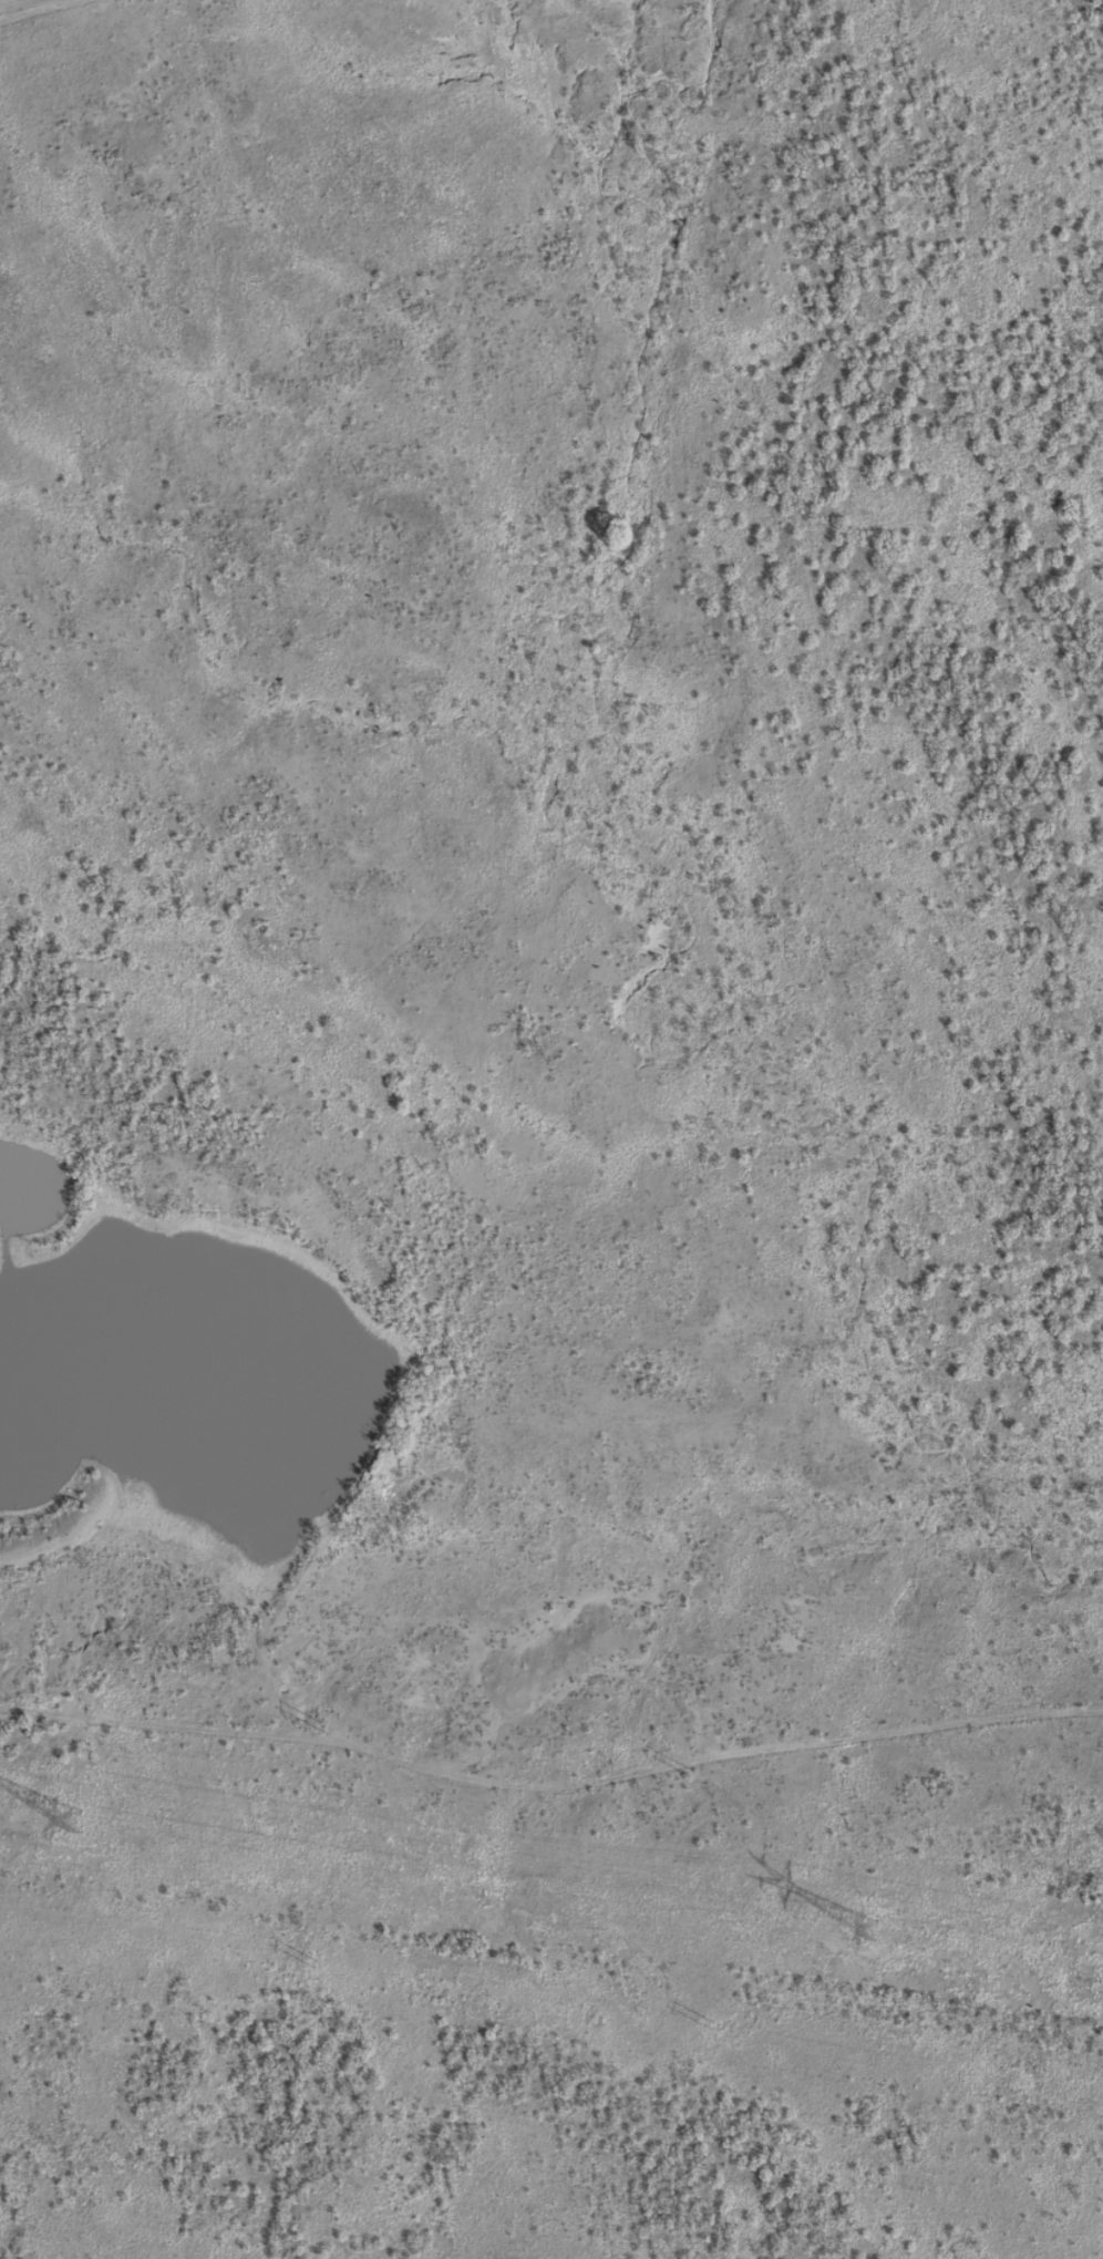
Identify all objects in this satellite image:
power tower: (320, 1727)
power tower: (690, 1773)
power tower: (65, 1817)
power tower: (1062, 1822)
power tower: (860, 1918)
power tower: (315, 1966)
power tower: (715, 2028)

